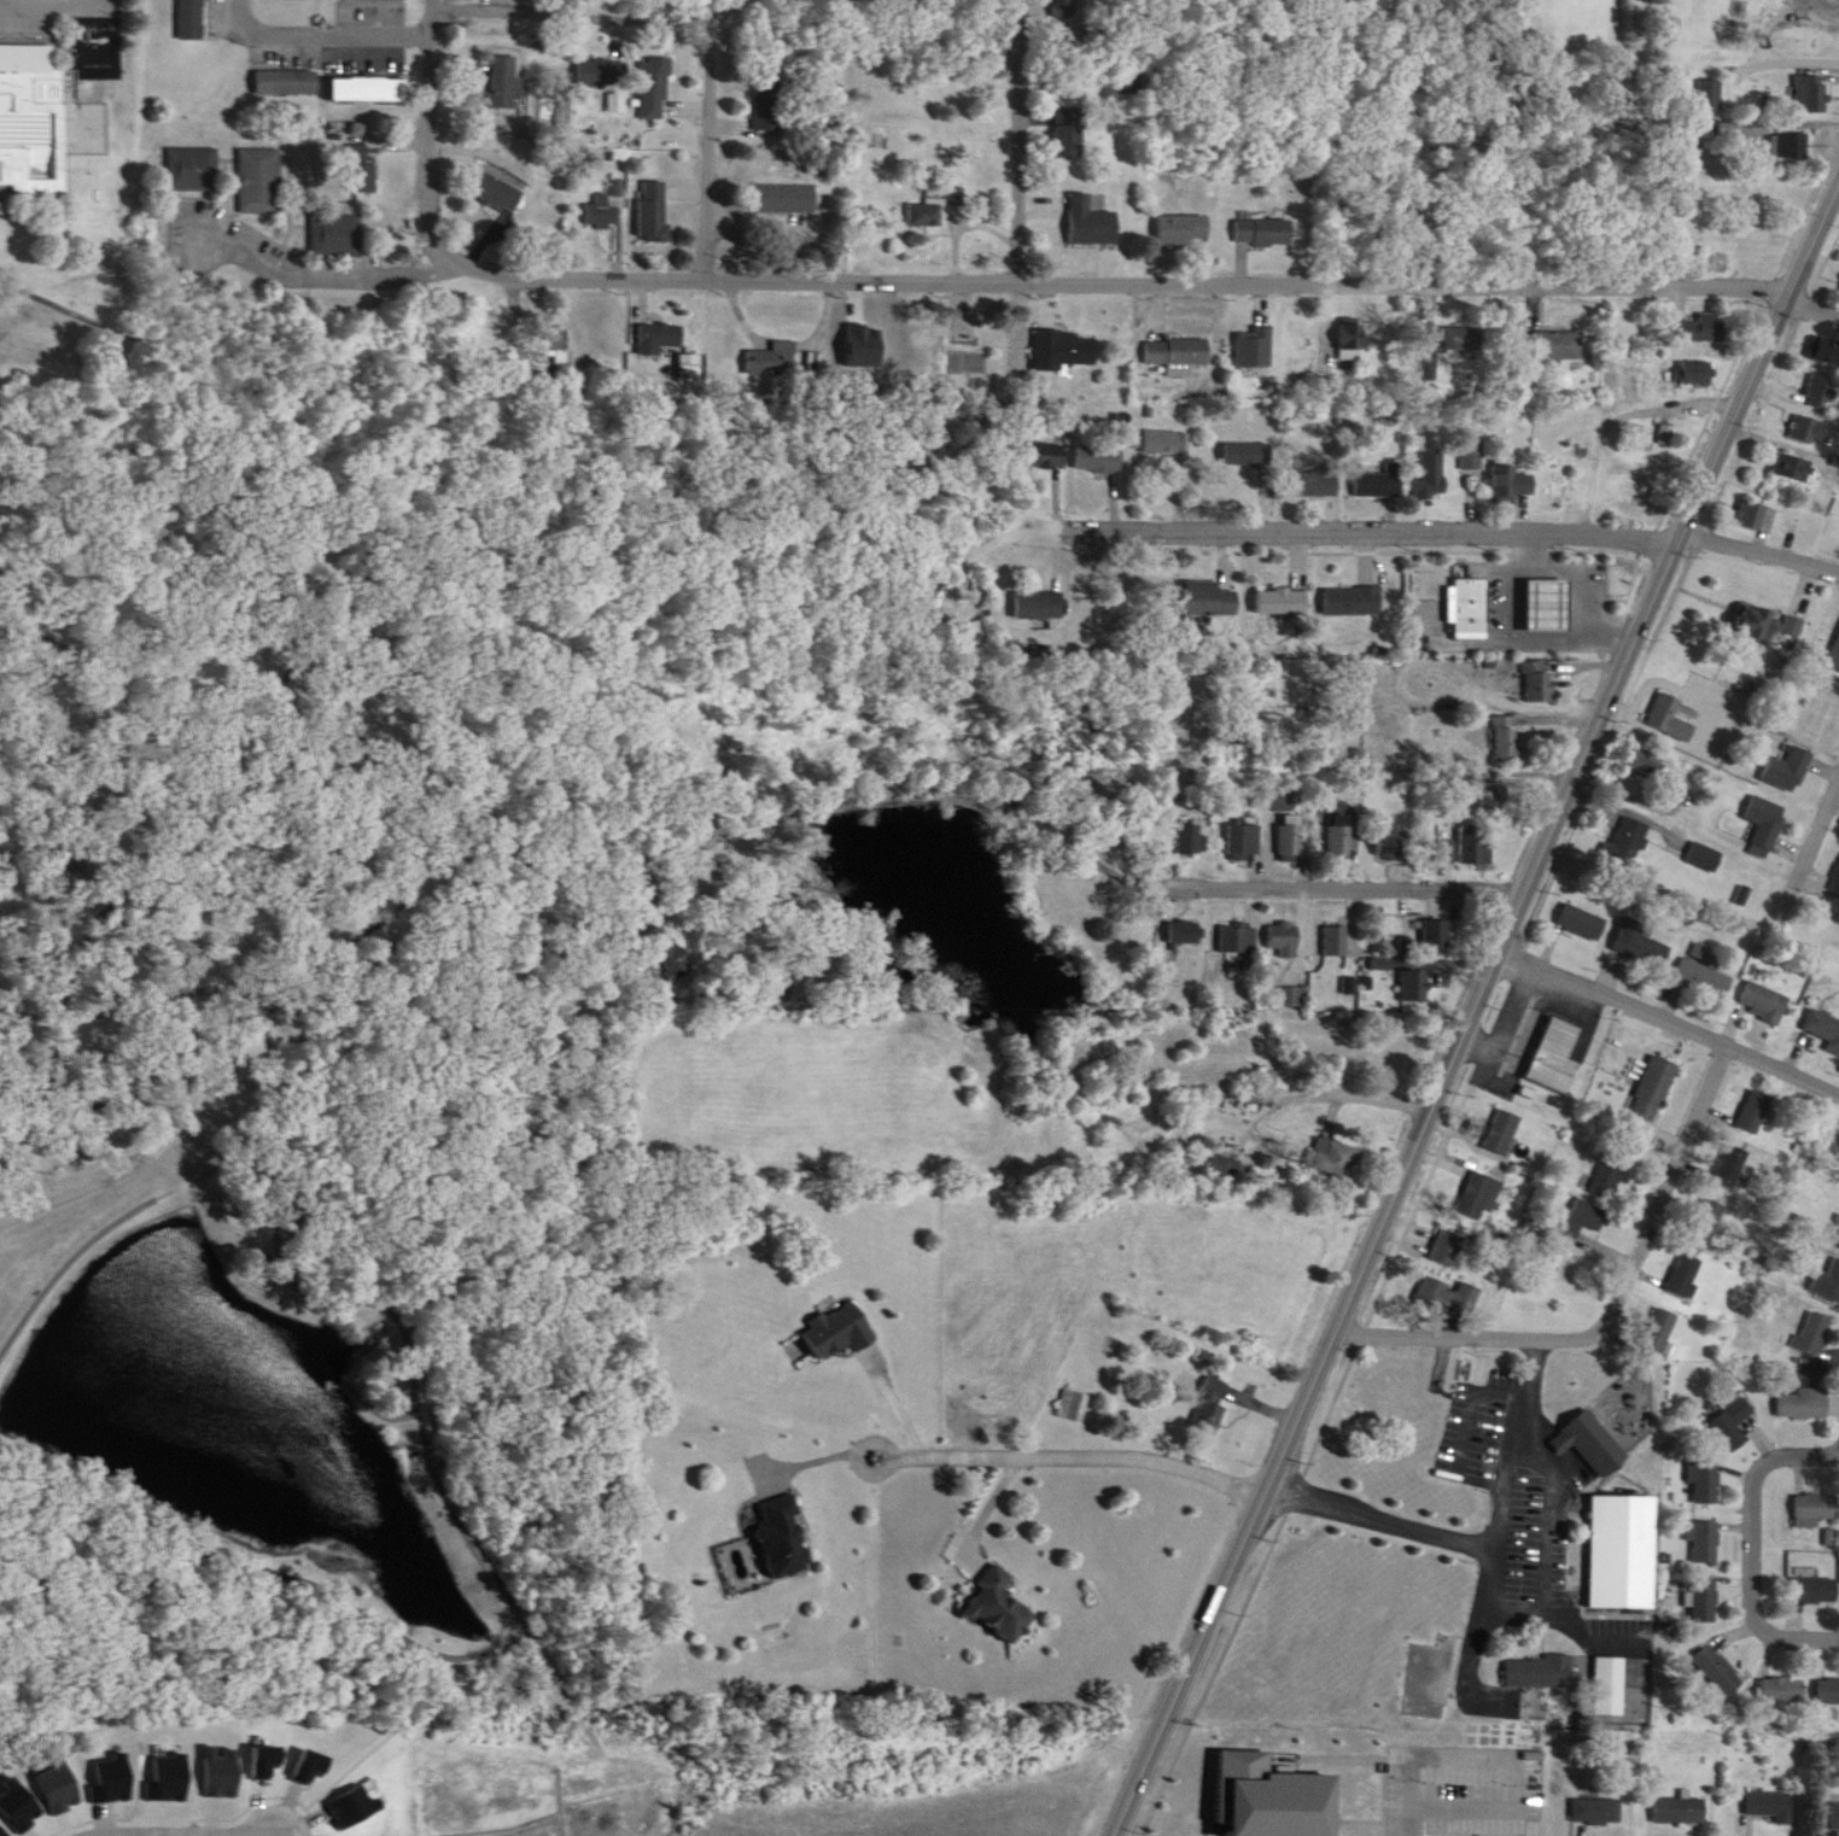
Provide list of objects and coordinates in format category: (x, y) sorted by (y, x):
building: (374, 0)
building: (1826, 4)
building: (1067, 7)
parking lot: (42, 8)
building: (188, 11)
building: (1761, 11)
road: (335, 21)
road: (1788, 52)
building: (286, 66)
building: (601, 72)
building: (367, 74)
road: (713, 75)
building: (1809, 78)
building: (287, 82)
building: (506, 82)
building: (655, 88)
building: (368, 89)
building: (1815, 94)
building: (1711, 97)
building: (615, 103)
water park: (33, 107)
building: (766, 113)
building: (31, 121)
road: (430, 124)
building: (1788, 129)
building: (1068, 134)
road: (1018, 135)
building: (1794, 145)
building: (194, 152)
building: (357, 152)
building: (261, 165)
park: (69, 185)
building: (498, 193)
building: (784, 199)
building: (1, 209)
building: (655, 211)
building: (603, 212)
building: (926, 215)
building: (337, 220)
building: (1091, 222)
building: (1184, 230)
building: (1263, 233)
road: (320, 262)
road: (1113, 268)
road: (1814, 285)
park: (7, 306)
building: (1698, 312)
building: (1553, 328)
building: (1706, 329)
building: (661, 338)
building: (1351, 341)
building: (1461, 341)
building: (1557, 346)
building: (1257, 349)
building: (554, 350)
building: (1064, 350)
building: (1826, 352)
building: (1180, 355)
building: (1693, 356)
building: (770, 362)
building: (1697, 373)
road: (1721, 385)
building: (1822, 392)
building: (1167, 428)
building: (1809, 429)
building: (1244, 435)
building: (1469, 437)
building: (1044, 439)
building: (1169, 443)
building: (1101, 444)
building: (1045, 455)
building: (1249, 455)
building: (1472, 455)
building: (1101, 460)
building: (1426, 461)
building: (1313, 464)
building: (1506, 464)
building: (1372, 467)
building: (1793, 467)
building: (1318, 480)
building: (1378, 480)
building: (1634, 490)
building: (1757, 516)
road: (1367, 520)
road: (1446, 538)
road: (1758, 538)
road: (1677, 581)
building: (1209, 583)
building: (1351, 583)
building: (1282, 584)
gas station: (1537, 586)
building: (1466, 587)
building: (1041, 591)
building: (1354, 601)
building: (1283, 602)
building: (1039, 606)
building: (1548, 619)
building: (1770, 622)
road: (1505, 636)
building: (1835, 657)
building: (1534, 666)
building: (1540, 684)
building: (1666, 700)
building: (1670, 718)
building: (1505, 724)
building: (1508, 739)
building: (1645, 764)
building: (1788, 771)
building: (1487, 779)
road: (383, 785)
road: (833, 793)
building: (1494, 797)
building: (1283, 800)
building: (1190, 823)
building: (1242, 823)
building: (1288, 823)
building: (1339, 824)
building: (1384, 826)
building: (1765, 826)
building: (1460, 830)
road: (1818, 830)
road: (25, 835)
building: (1186, 840)
building: (1249, 840)
building: (1341, 841)
building: (1628, 842)
building: (1390, 844)
building: (1475, 849)
building: (1705, 858)
road: (1342, 876)
building: (1835, 884)
road: (112, 896)
building: (1181, 917)
building: (1429, 917)
building: (1280, 922)
building: (1237, 923)
building: (1582, 924)
building: (1333, 925)
building: (659, 934)
building: (1184, 934)
building: (1435, 936)
building: (1284, 940)
building: (1336, 942)
building: (1237, 946)
building: (1642, 947)
building: (198, 953)
building: (1383, 965)
building: (640, 966)
building: (1408, 967)
road: (238, 976)
building: (1289, 980)
building: (1705, 980)
road: (1613, 983)
building: (1414, 987)
road: (98, 999)
road: (1472, 999)
building: (1765, 1004)
building: (1823, 1025)
building: (1541, 1035)
road: (282, 1052)
building: (1838, 1054)
road: (1782, 1056)
park: (305, 1063)
building: (1647, 1070)
road: (1333, 1080)
building: (1263, 1086)
building: (1654, 1089)
building: (1747, 1097)
building: (1756, 1113)
building: (1494, 1115)
building: (1502, 1133)
building: (1723, 1148)
building: (1607, 1156)
building: (1333, 1157)
building: (1733, 1168)
building: (1613, 1175)
building: (1470, 1176)
building: (1478, 1197)
building: (1578, 1200)
road: (1650, 1200)
building: (1699, 1204)
building: (1834, 1210)
building: (1581, 1220)
building: (1709, 1221)
building: (1837, 1230)
building: (1436, 1233)
building: (1446, 1249)
building: (1676, 1258)
building: (1826, 1264)
building: (1686, 1275)
building: (1440, 1277)
building: (1446, 1296)
building: (1652, 1312)
building: (1808, 1318)
road: (1437, 1320)
building: (840, 1331)
building: (1662, 1332)
building: (1815, 1334)
building: (1798, 1387)
road: (378, 1392)
road: (894, 1404)
building: (1727, 1405)
building: (1806, 1405)
building: (1073, 1407)
building: (1209, 1408)
building: (1615, 1411)
road: (1464, 1417)
building: (1584, 1422)
road: (424, 1423)
building: (1735, 1426)
road: (1518, 1428)
building: (1587, 1442)
road: (812, 1456)
road: (1070, 1456)
building: (1703, 1462)
building: (1706, 1483)
building: (1810, 1491)
parking lot: (1522, 1493)
road: (1383, 1505)
road: (981, 1512)
building: (1816, 1512)
building: (1701, 1525)
building: (1616, 1534)
road: (1756, 1536)
building: (784, 1540)
building: (1707, 1543)
road: (1543, 1561)
building: (1809, 1573)
road: (1251, 1577)
building: (1699, 1584)
building: (1817, 1591)
building: (1706, 1602)
building: (1000, 1608)
road: (1592, 1625)
building: (1712, 1653)
building: (1532, 1655)
road: (1467, 1670)
building: (1601, 1670)
building: (1774, 1671)
building: (1539, 1672)
building: (1718, 1672)
building: (1823, 1672)
building: (1782, 1691)
building: (1828, 1691)
parking lot: (1384, 1730)
road: (1320, 1744)
road: (1513, 1747)
parking lot: (1456, 1776)
building: (1262, 1788)
road: (1382, 1789)
road: (1351, 1807)
building: (1773, 1807)
building: (1596, 1812)
building: (1680, 1812)
road: (1406, 1814)
building: (1835, 1818)
road: (1224, 1829)
road: (1251, 1832)
road: (1269, 1834)
road: (147, 1835)

